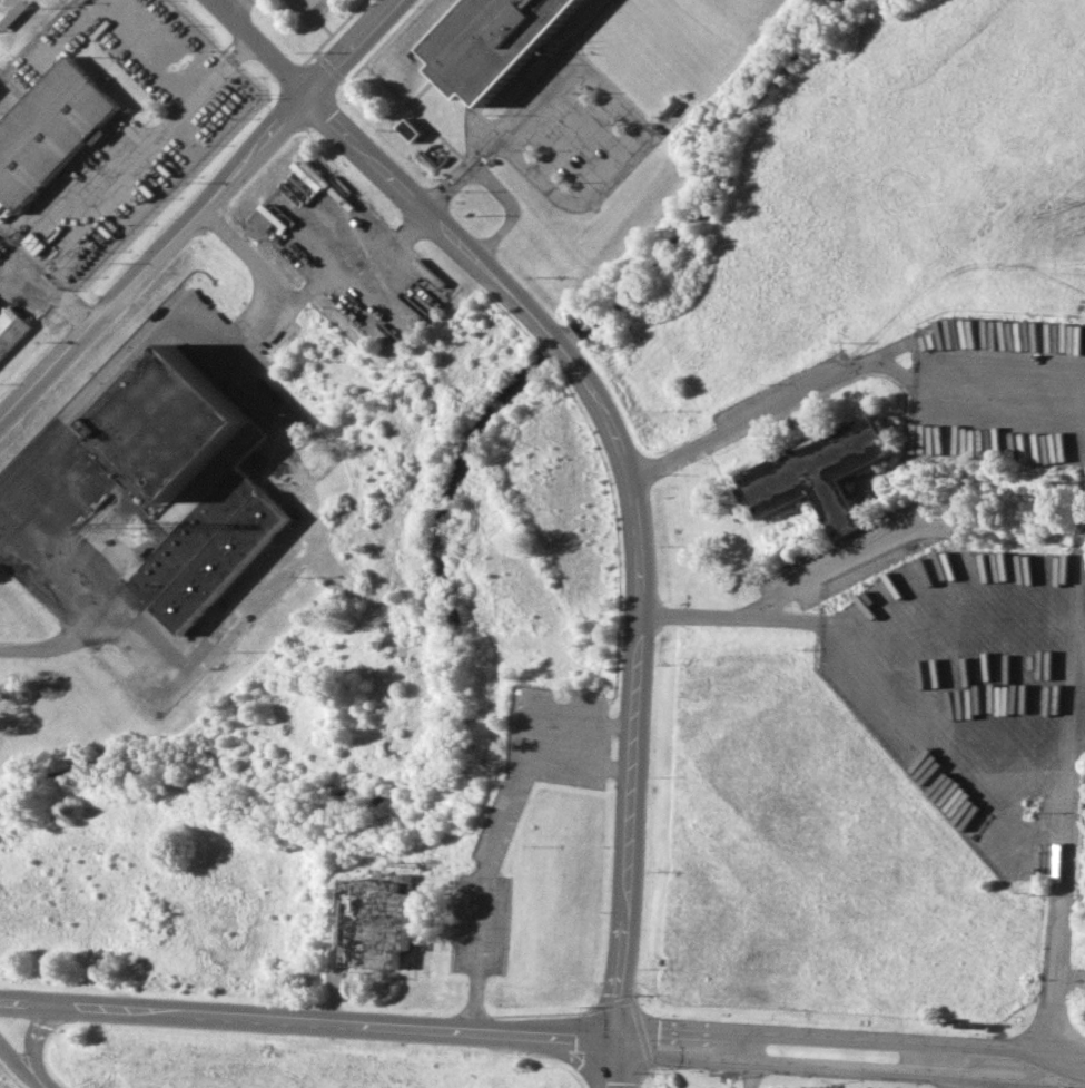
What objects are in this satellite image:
parking lot: (240, 6)
road: (235, 8)
parking lot: (308, 8)
building: (491, 40)
road: (257, 46)
building: (49, 129)
building: (408, 129)
road: (637, 130)
road: (483, 145)
road: (434, 200)
road: (195, 209)
road: (512, 210)
building: (11, 329)
road: (776, 406)
road: (76, 423)
building: (172, 437)
building: (819, 472)
road: (632, 503)
building: (208, 549)
road: (278, 558)
road: (786, 589)
road: (583, 734)
road: (495, 842)
building: (376, 922)
road: (1055, 924)
road: (305, 1020)
road: (847, 1038)
road: (29, 1039)
traffic signals: (612, 1040)
road: (610, 1064)
road: (847, 1068)
road: (17, 1069)

